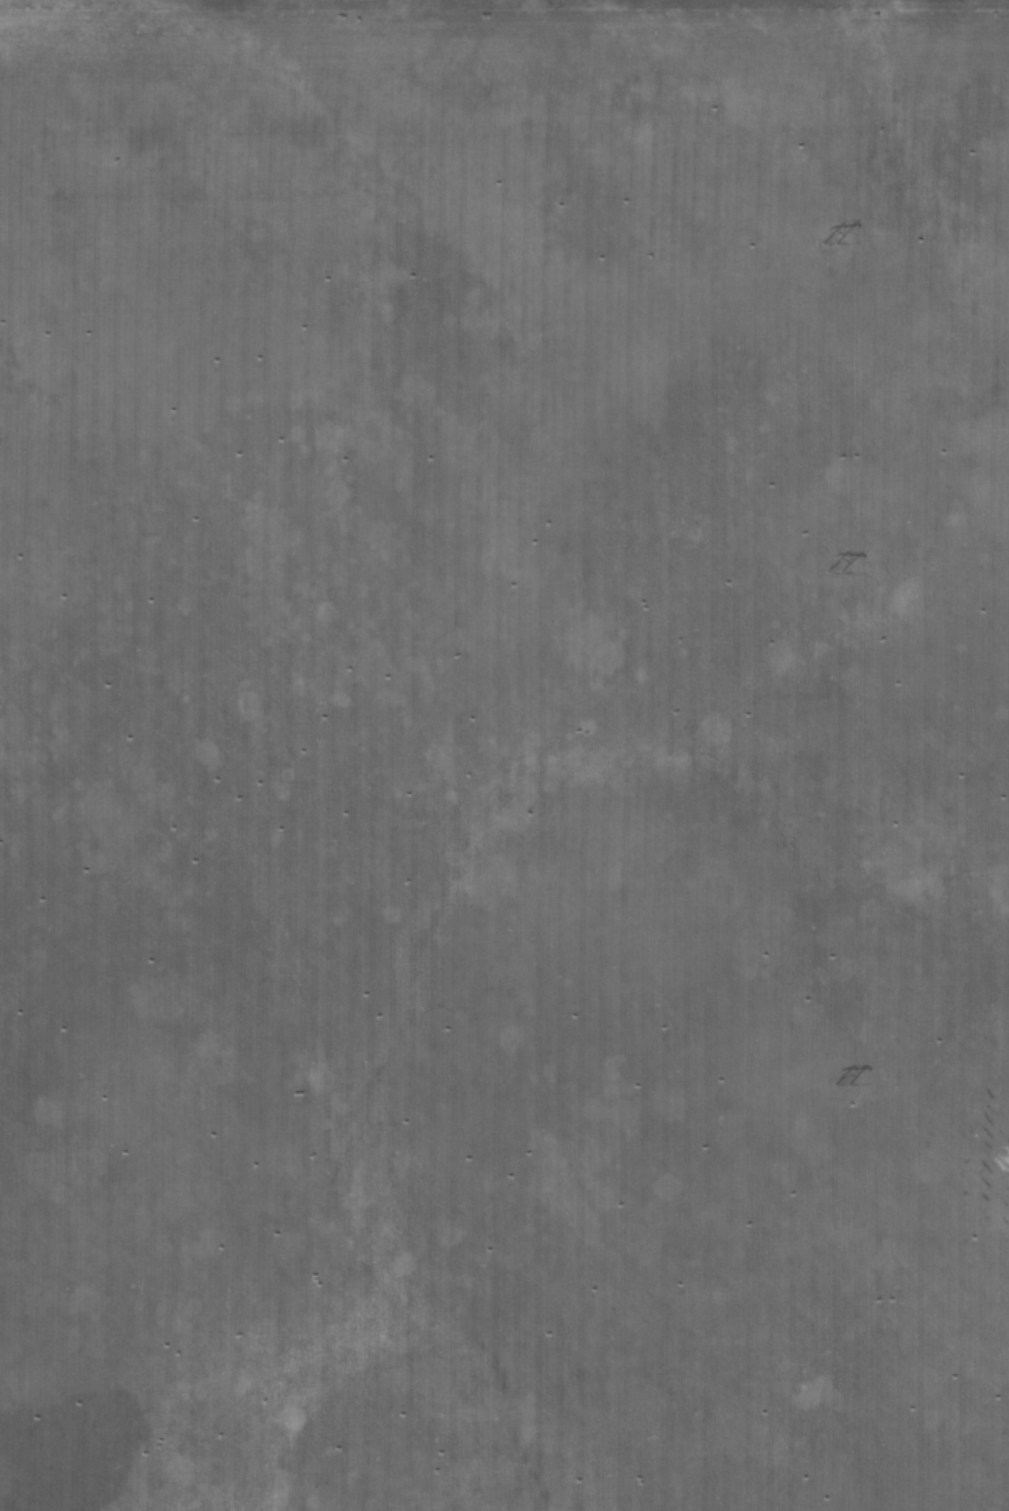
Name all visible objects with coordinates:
power tower: (818, 243)
power tower: (824, 572)
power tower: (839, 1084)

